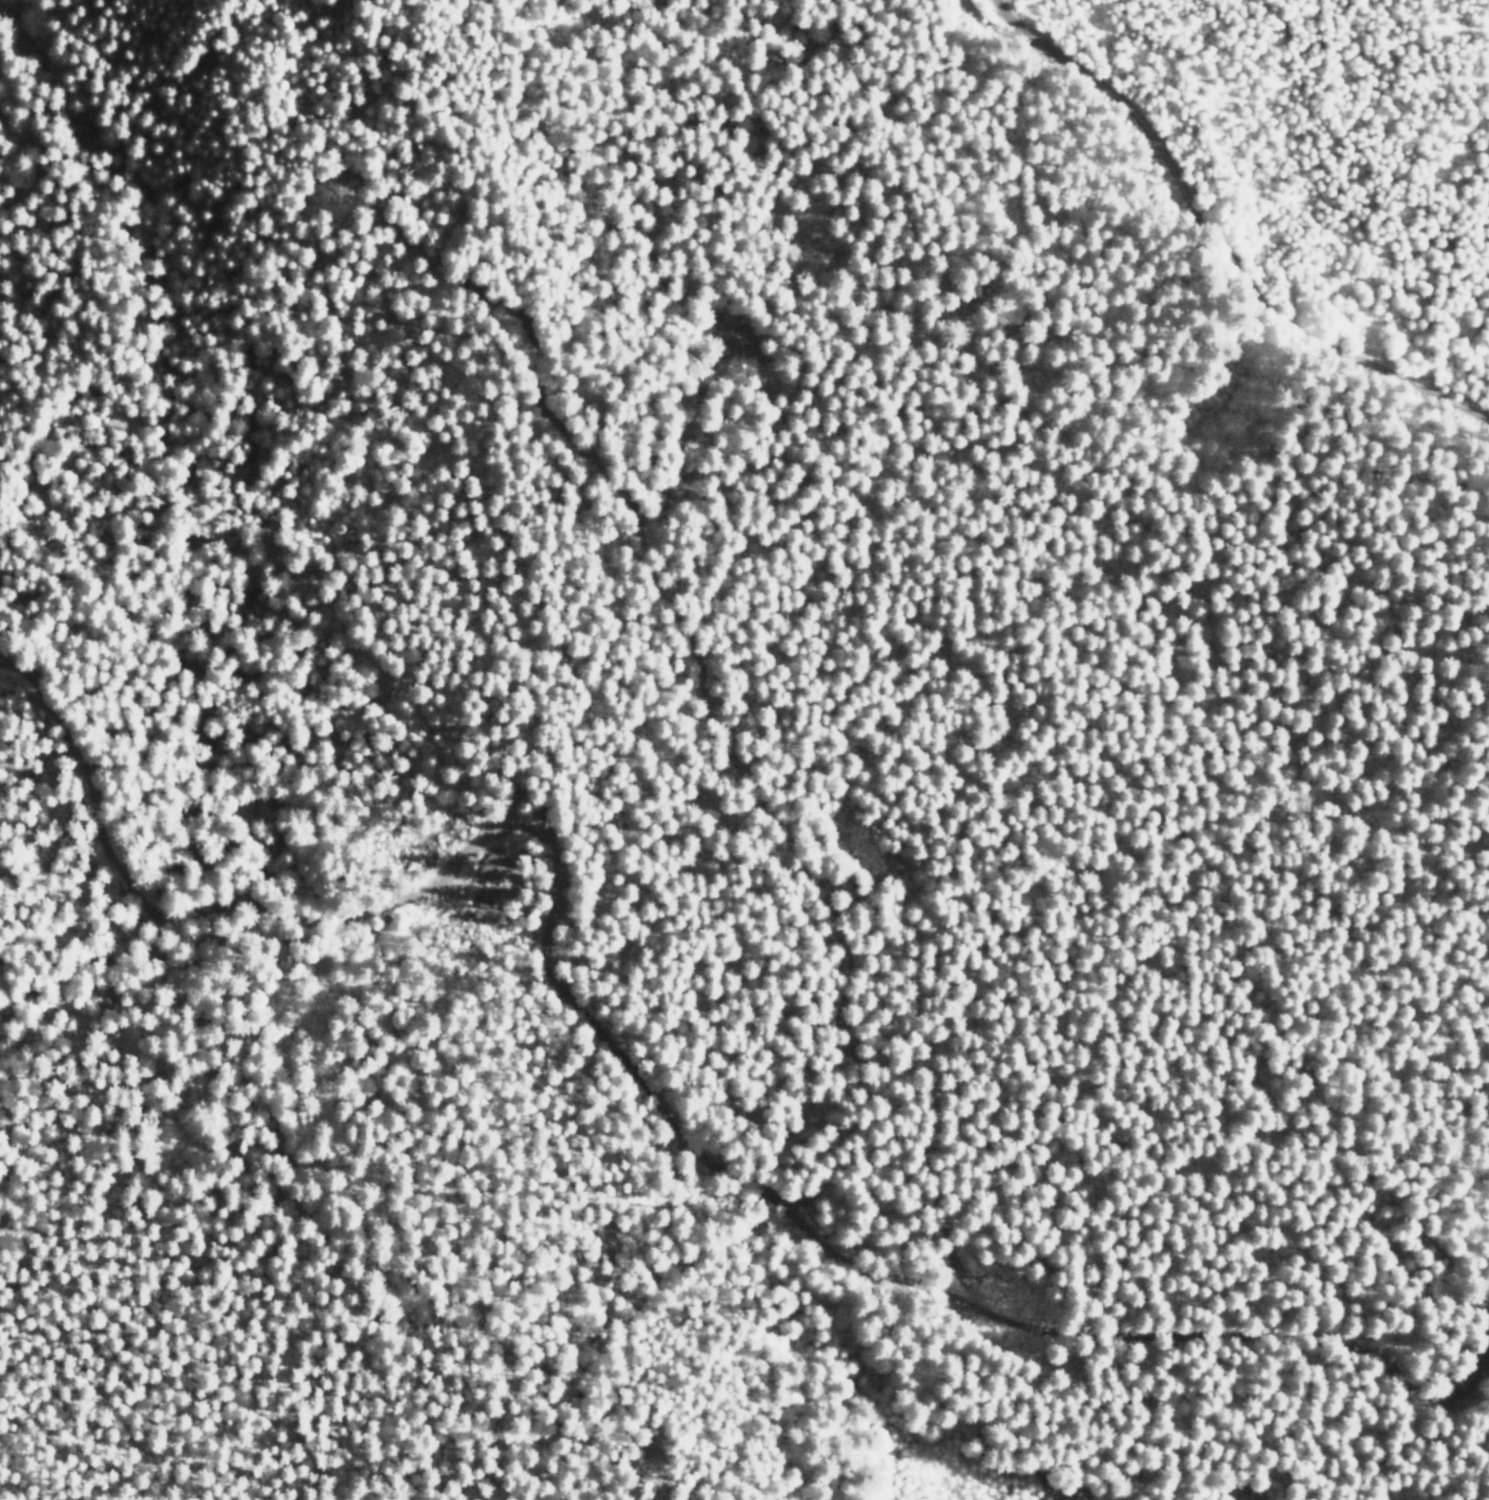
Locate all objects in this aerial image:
road: (647, 1075)

